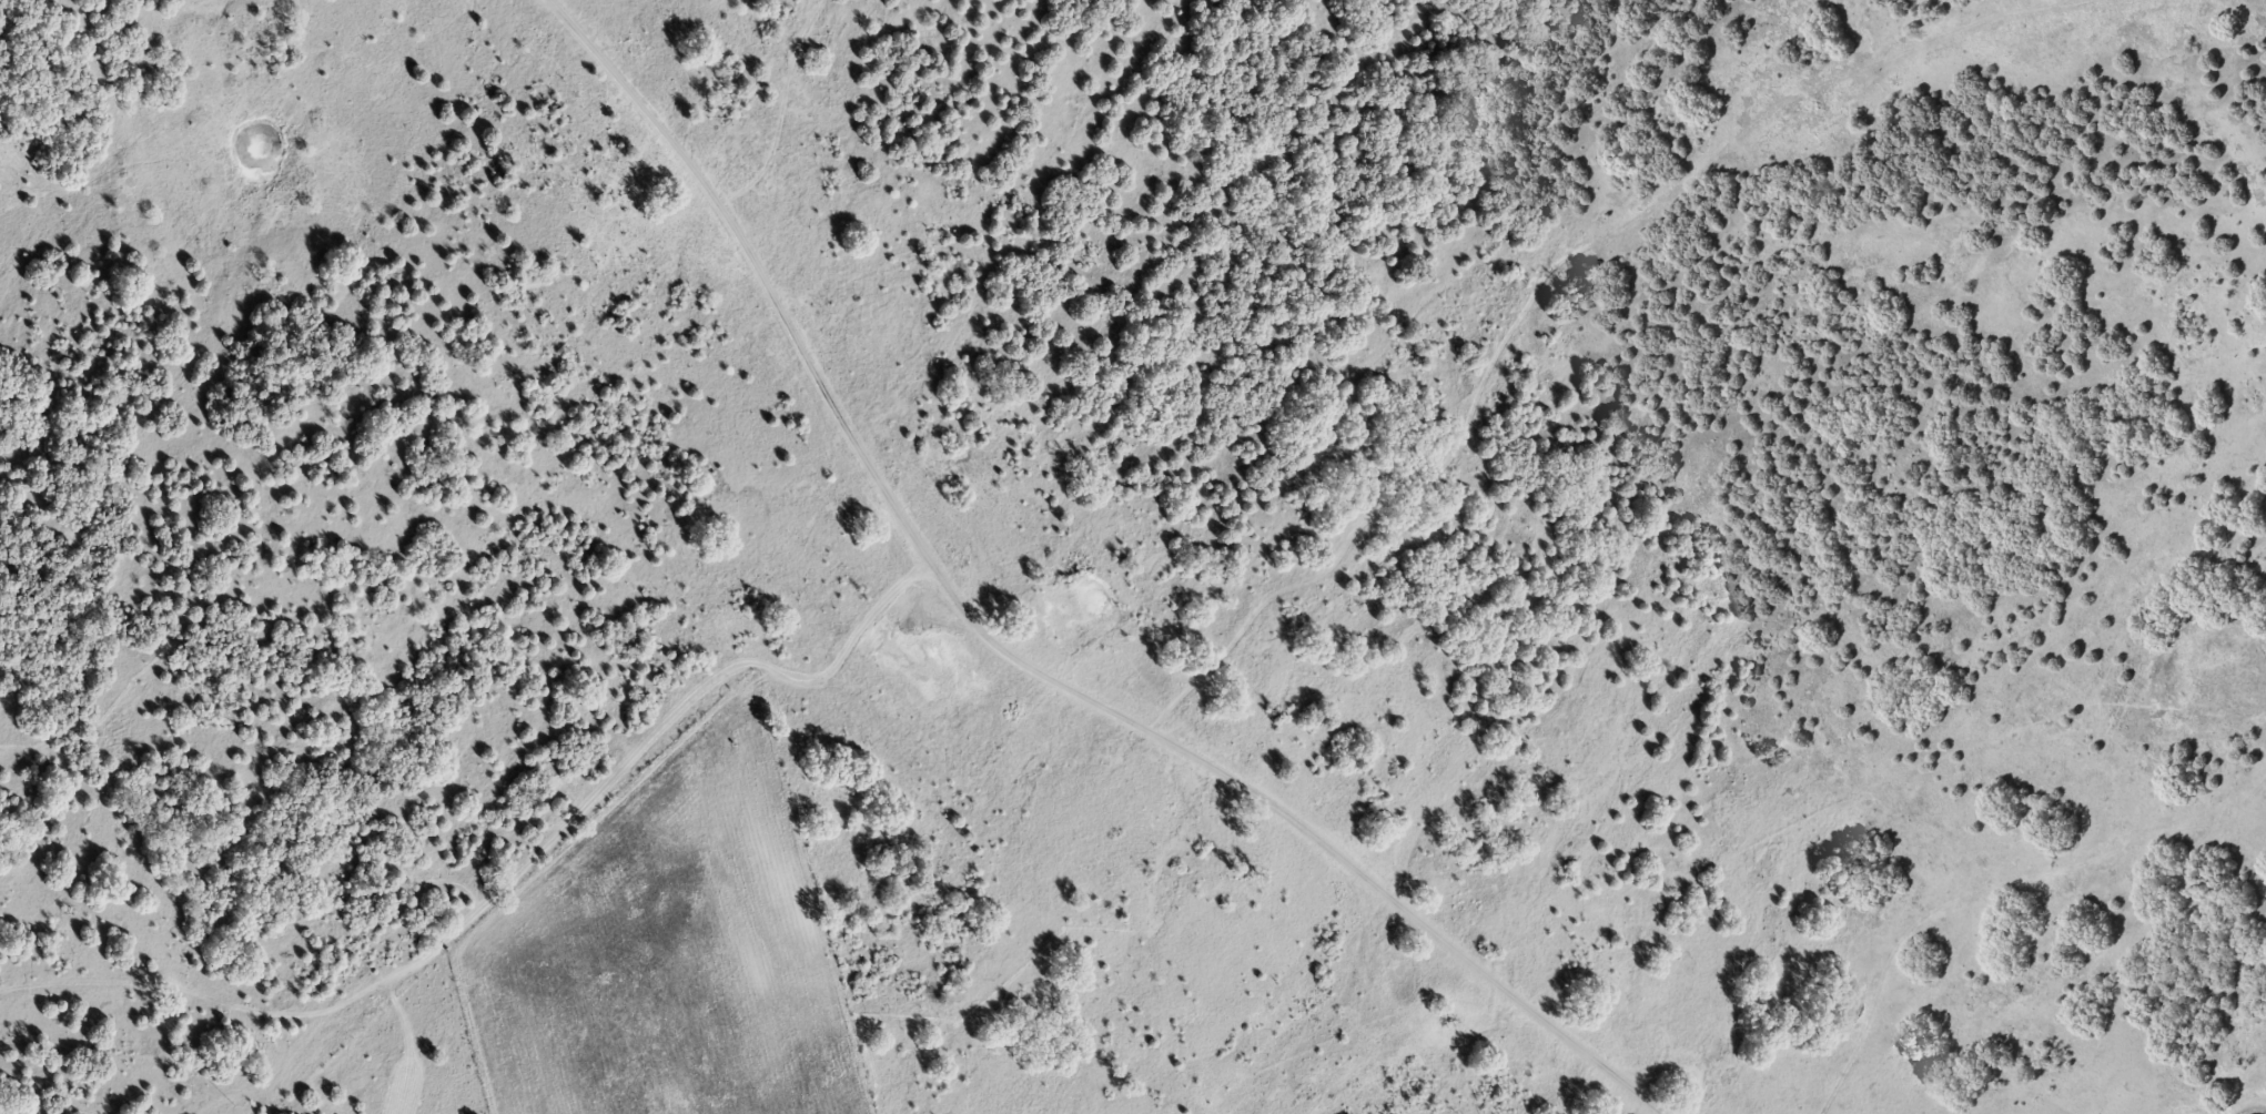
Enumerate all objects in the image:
road: (1010, 651)

